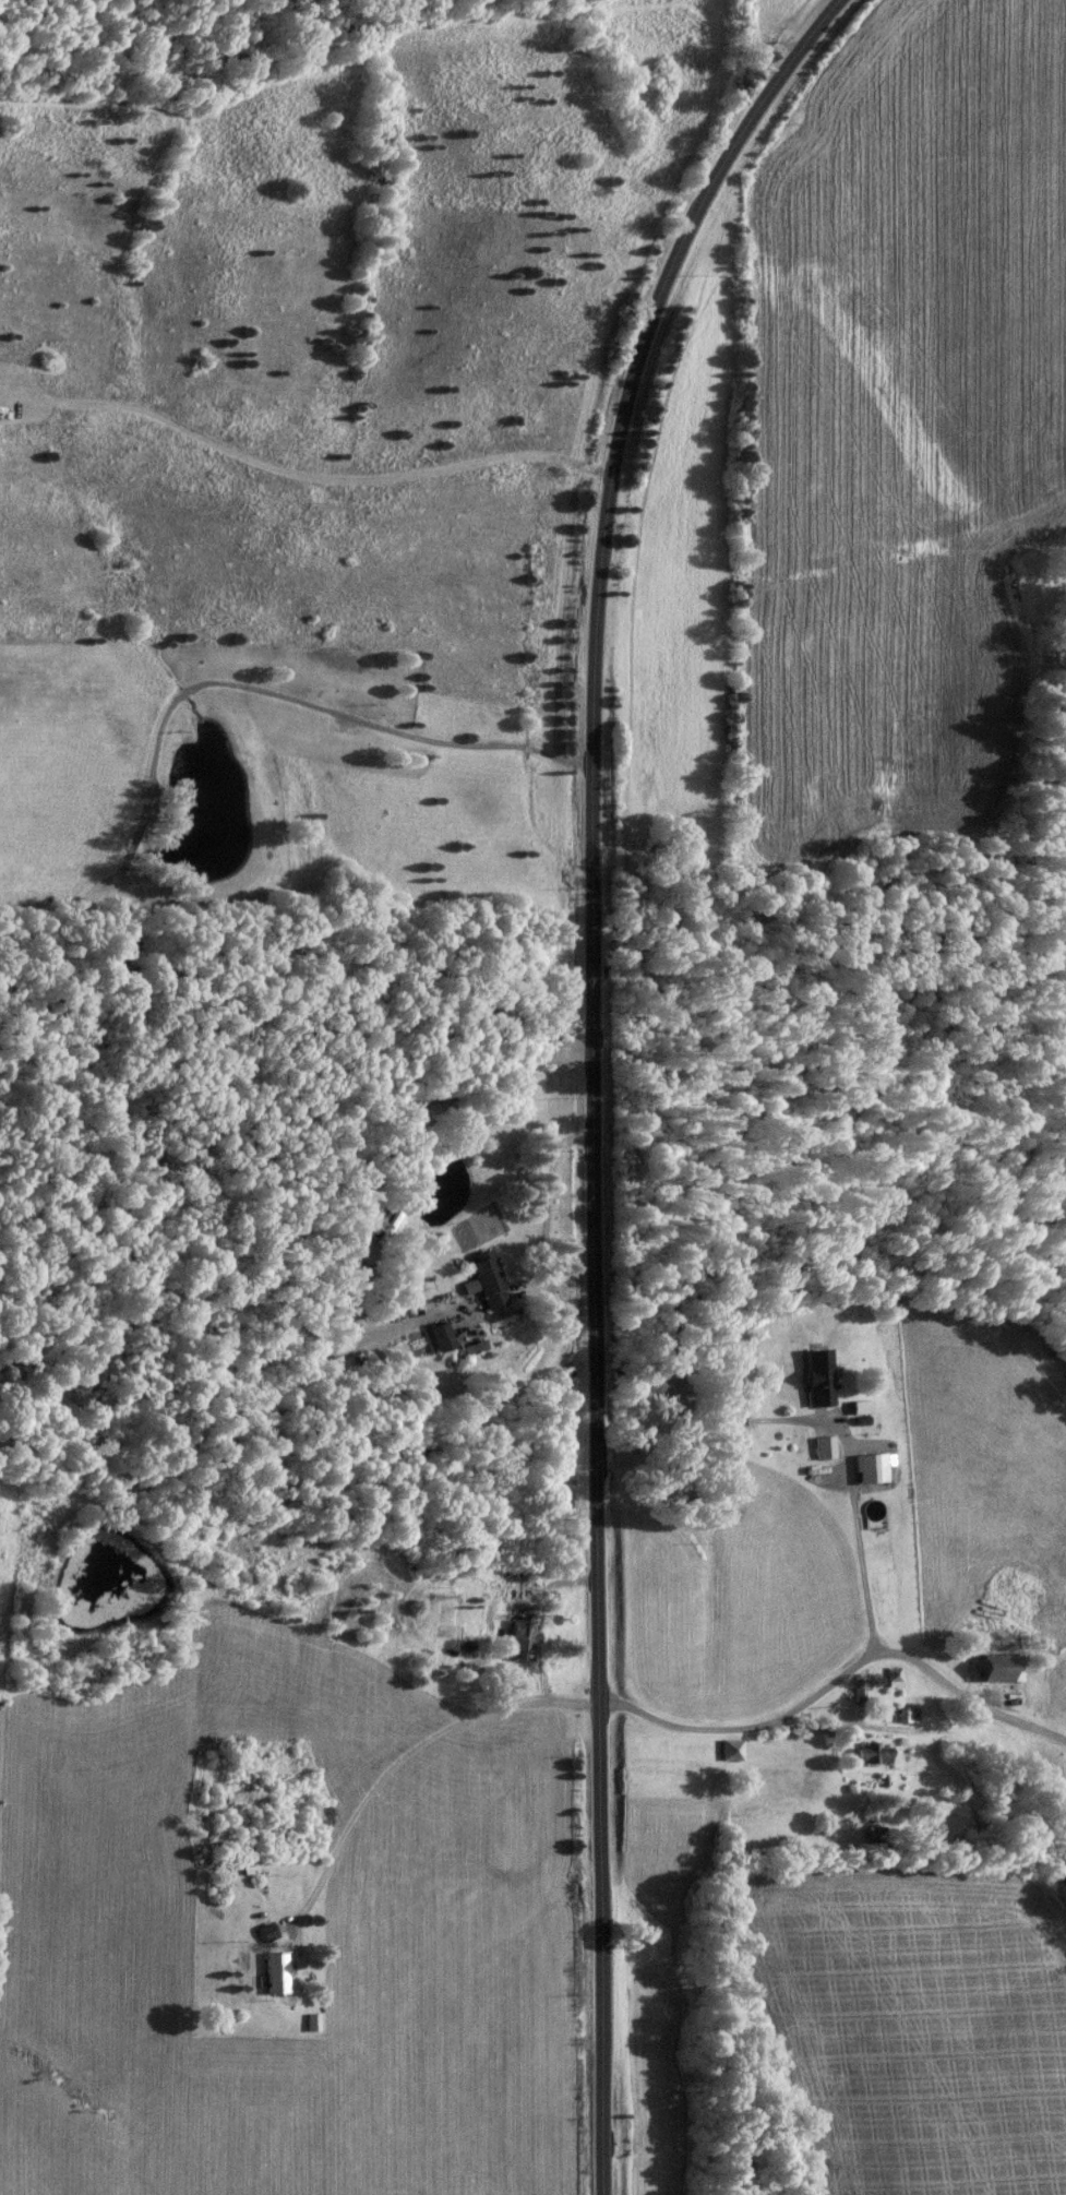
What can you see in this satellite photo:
road: (598, 1067)
building: (483, 1281)
building: (439, 1338)
building: (816, 1379)
building: (858, 1408)
road: (762, 1421)
building: (823, 1448)
building: (869, 1469)
building: (519, 1635)
building: (997, 1668)
building: (893, 1678)
building: (906, 1716)
building: (236, 1751)
building: (729, 1751)
building: (870, 1753)
building: (243, 1796)
building: (874, 1835)
building: (274, 1973)

